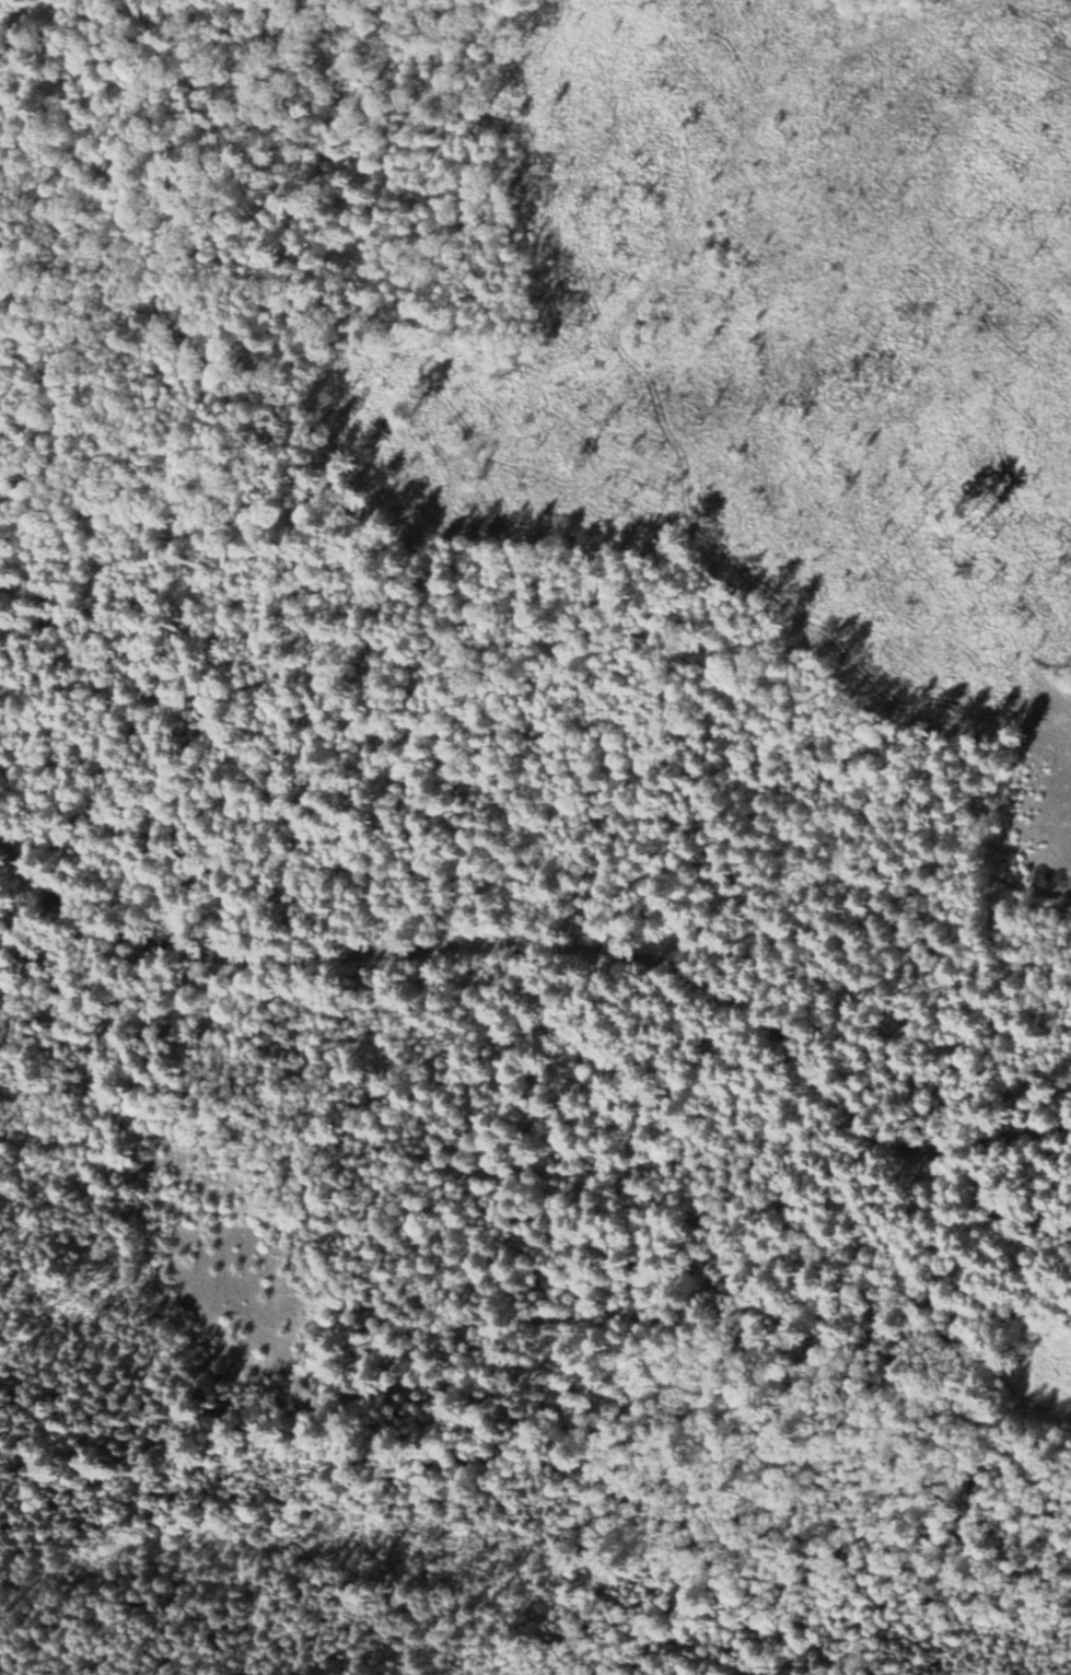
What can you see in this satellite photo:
road: (552, 944)

